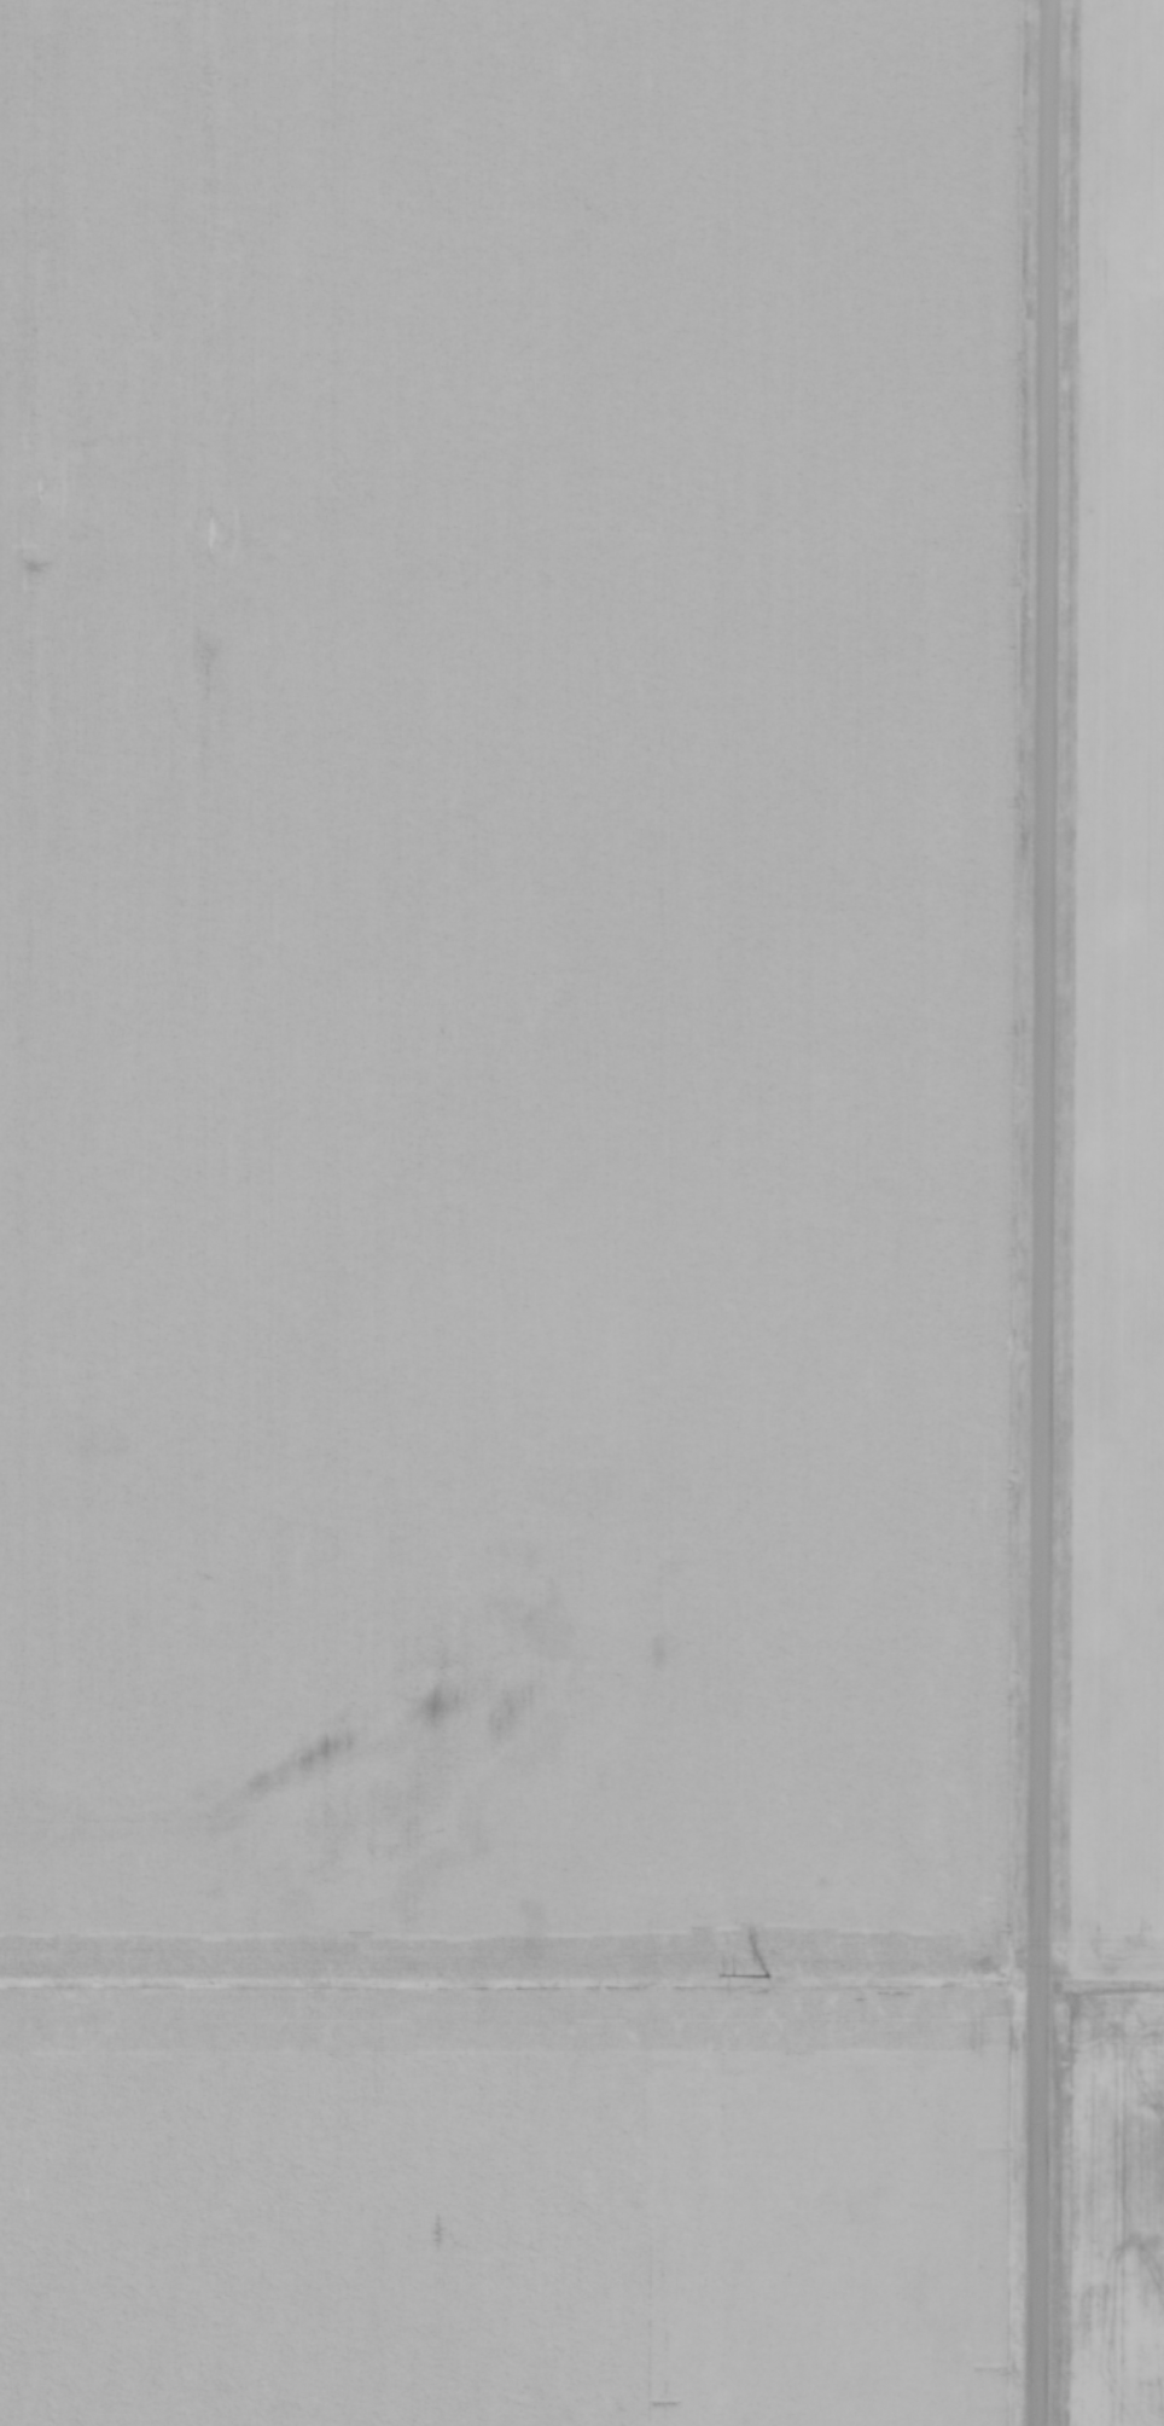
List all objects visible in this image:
road: (1035, 1212)
power tower: (763, 1974)

